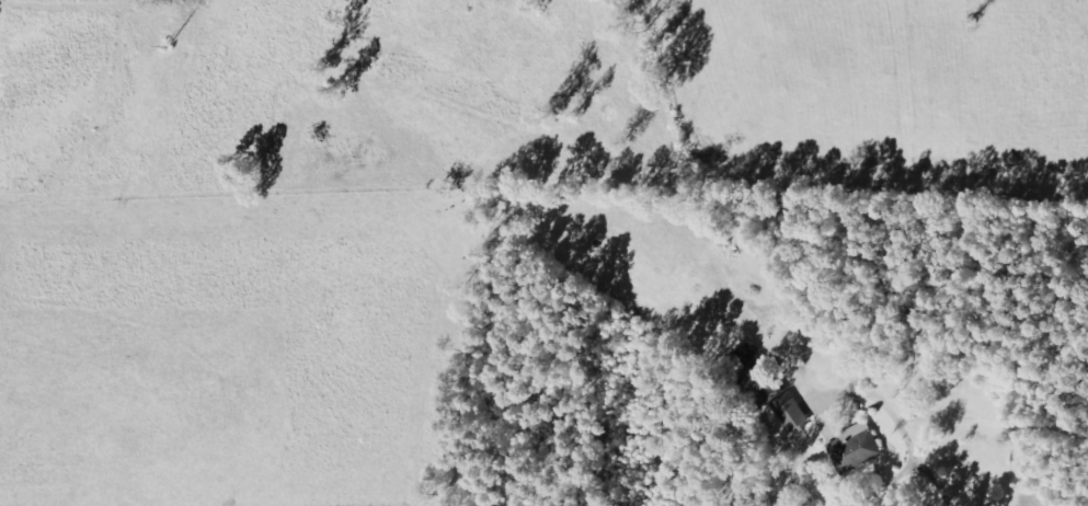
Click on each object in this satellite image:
building: (794, 413)
building: (861, 446)

